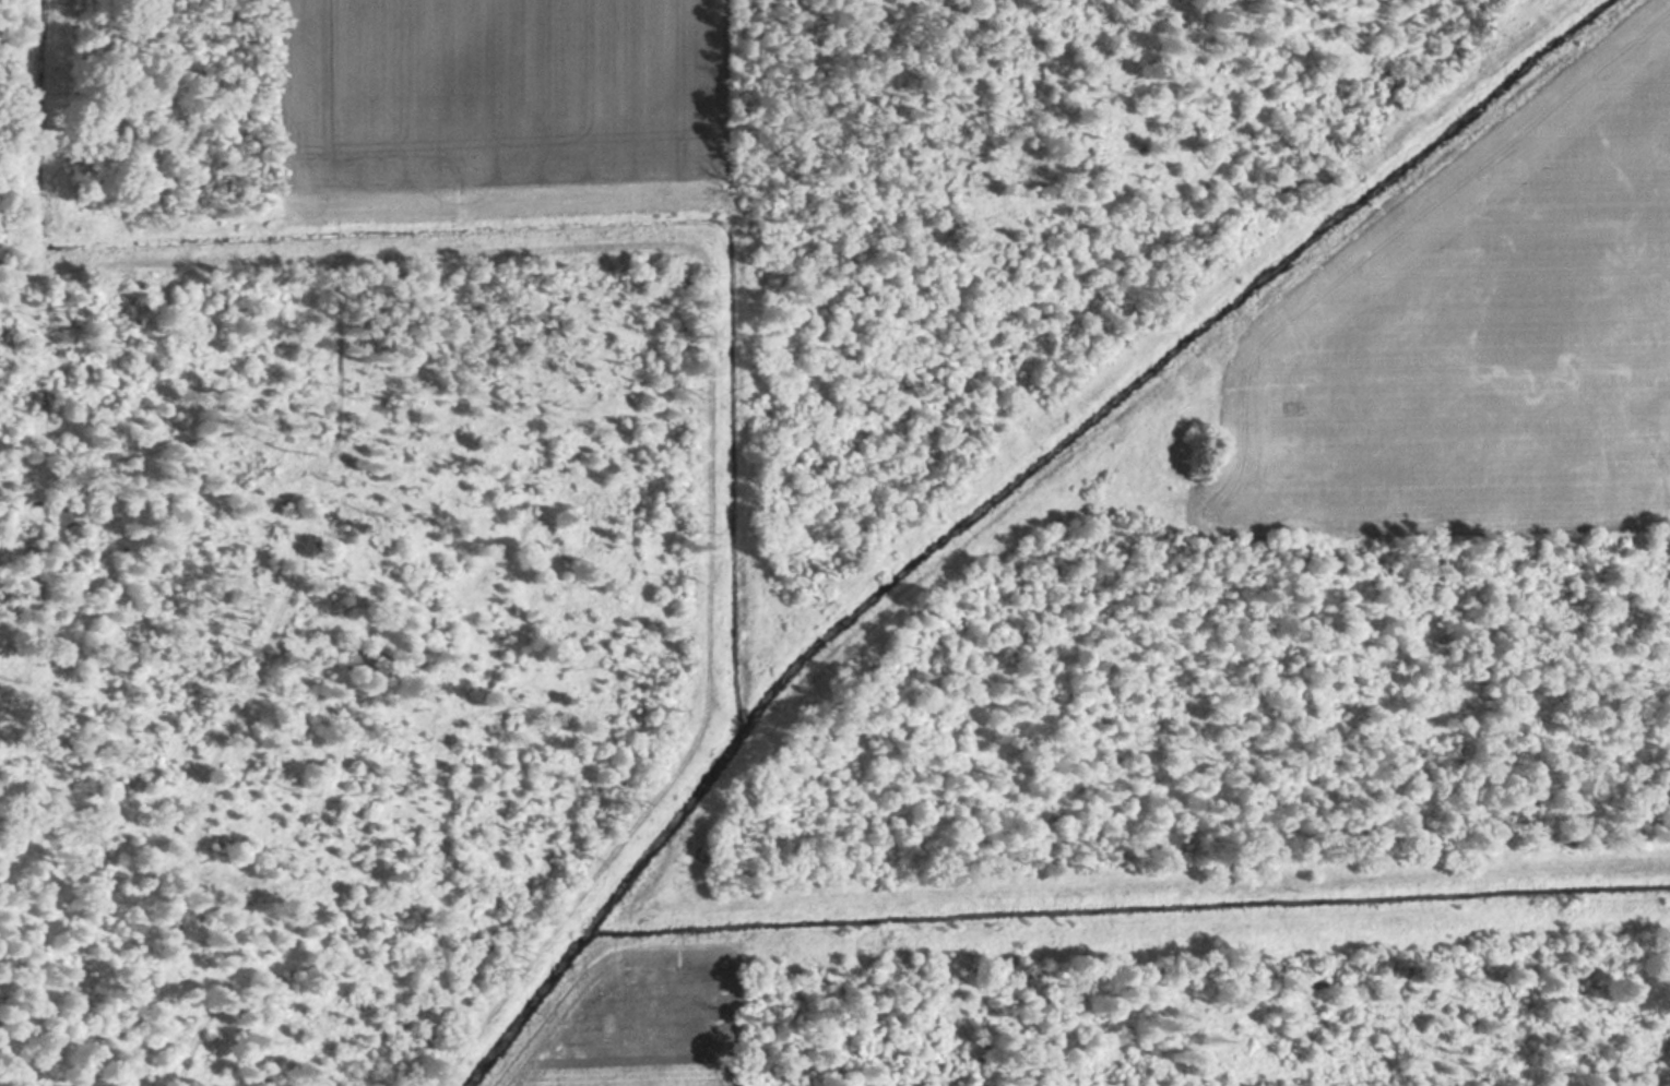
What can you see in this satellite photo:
park: (1197, 542)

